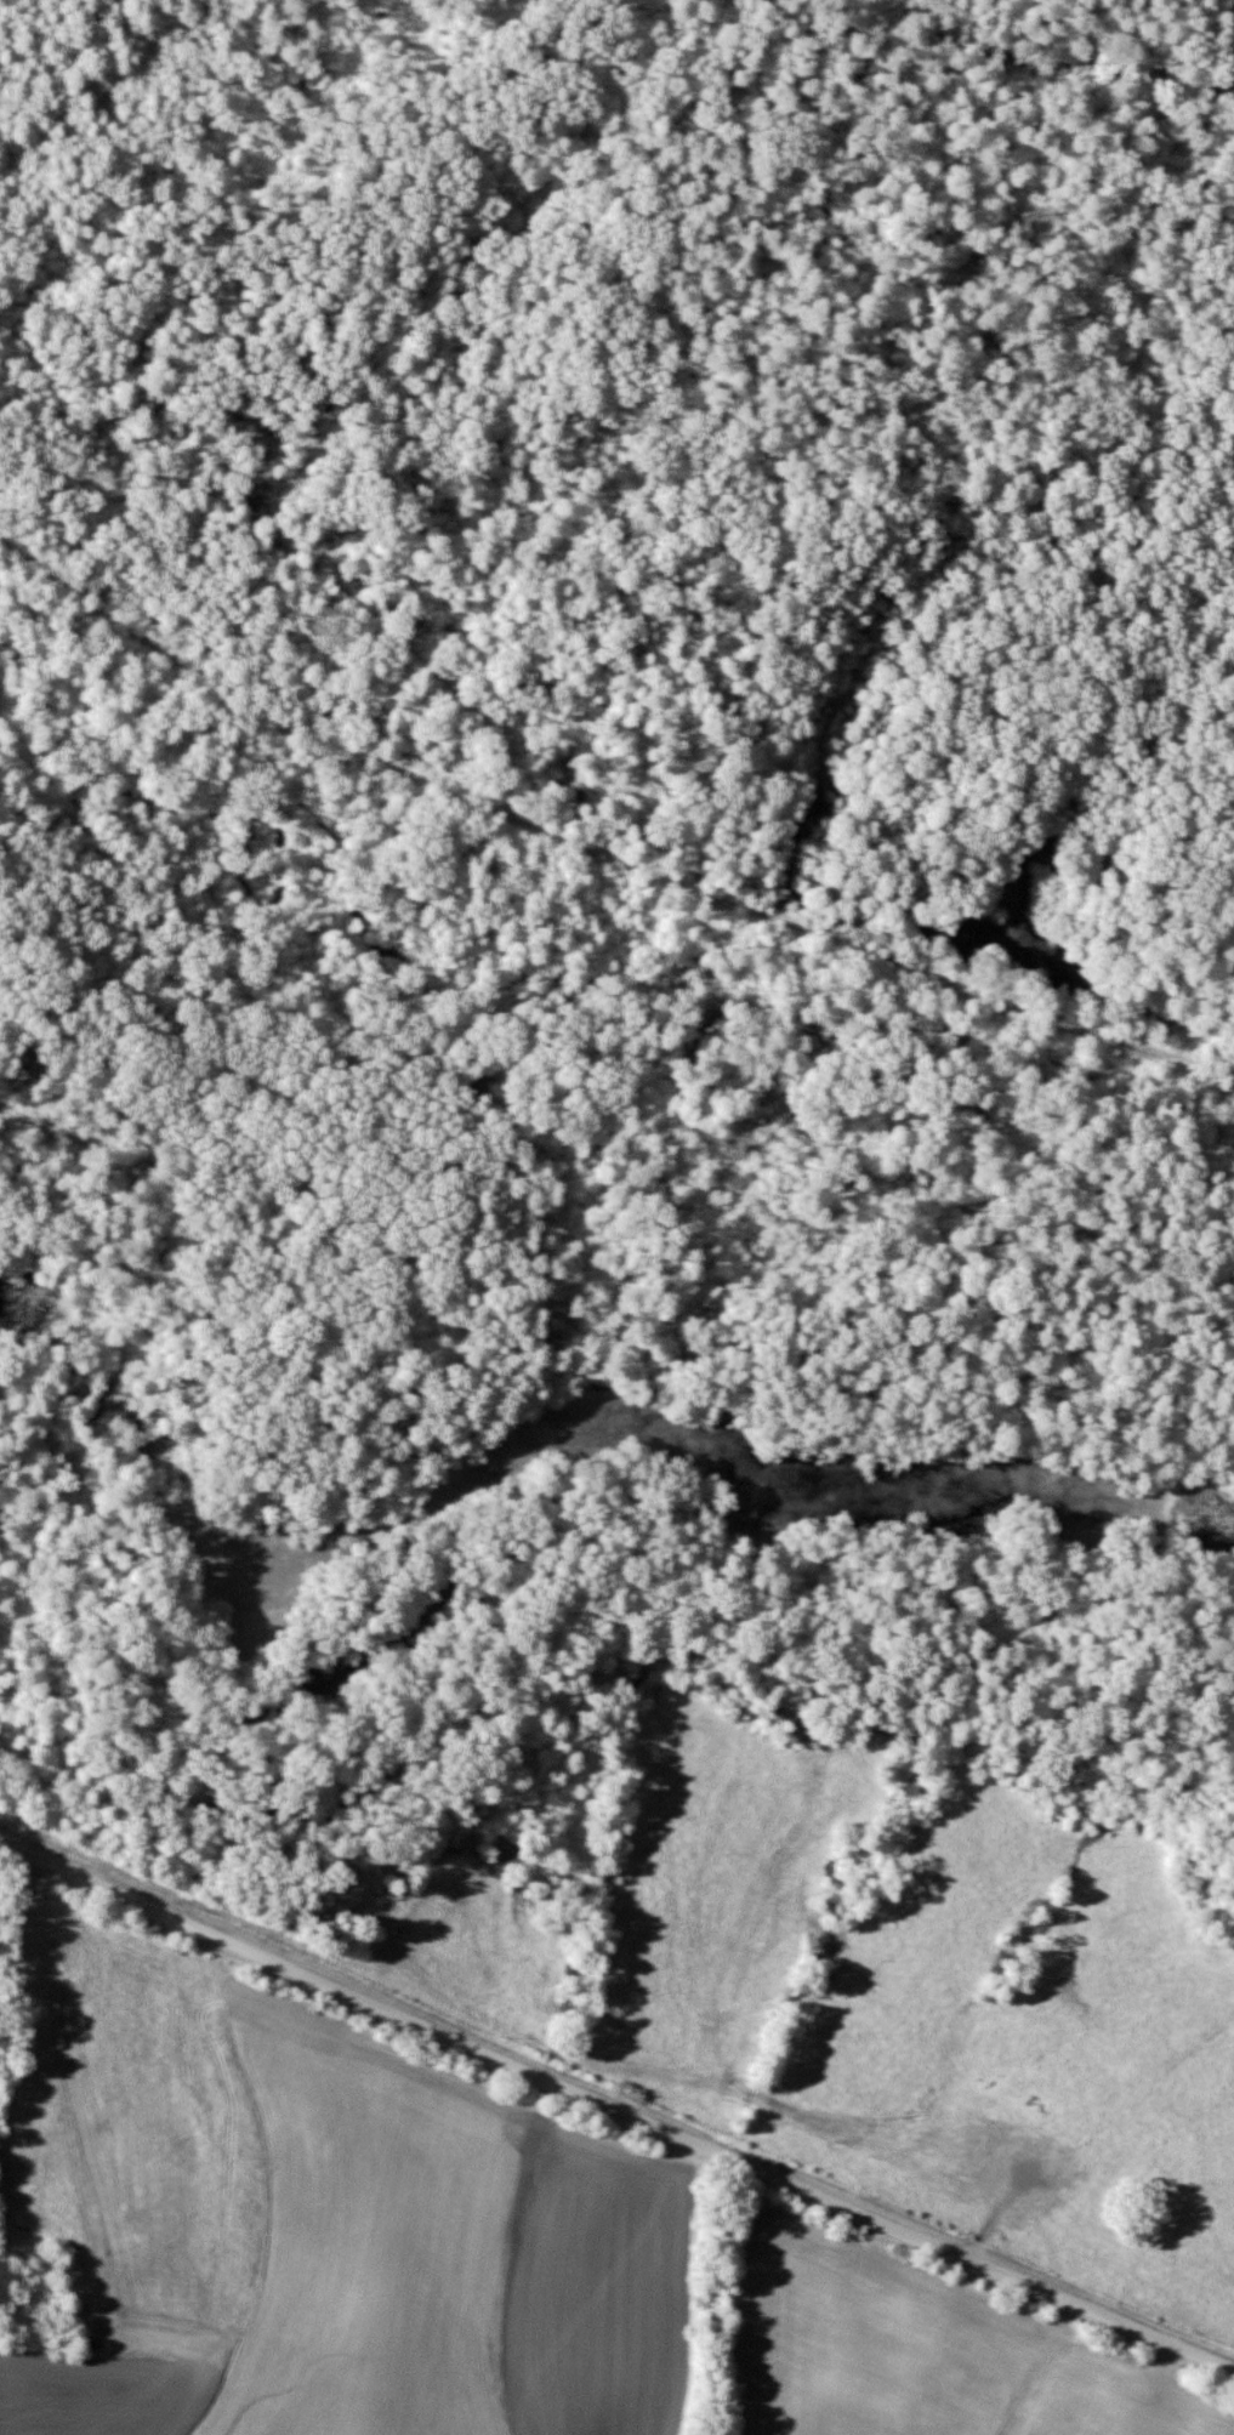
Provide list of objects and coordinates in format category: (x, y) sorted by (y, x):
road: (615, 2105)

